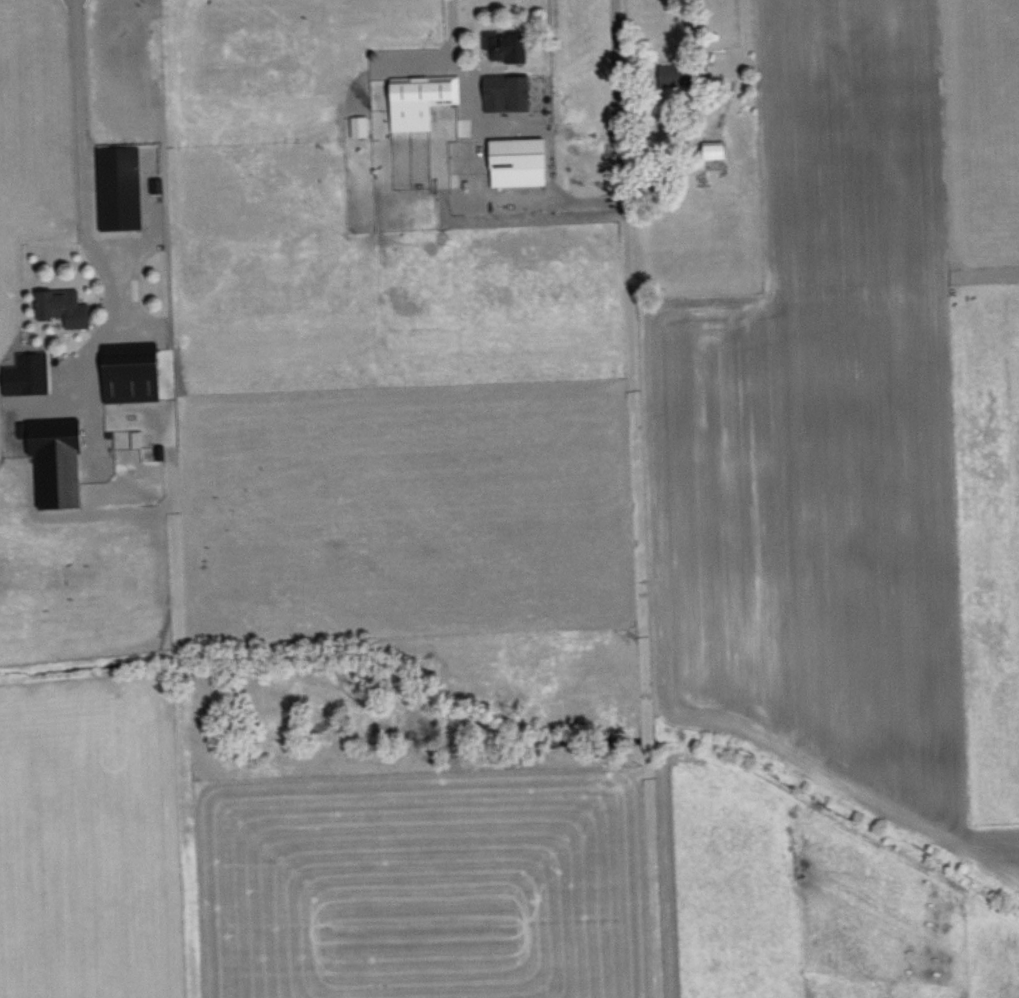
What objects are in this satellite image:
building: (513, 47)
building: (686, 72)
building: (510, 92)
building: (422, 100)
building: (361, 126)
building: (522, 162)
road: (84, 180)
building: (122, 188)
road: (549, 200)
building: (68, 307)
building: (30, 375)
building: (136, 377)

